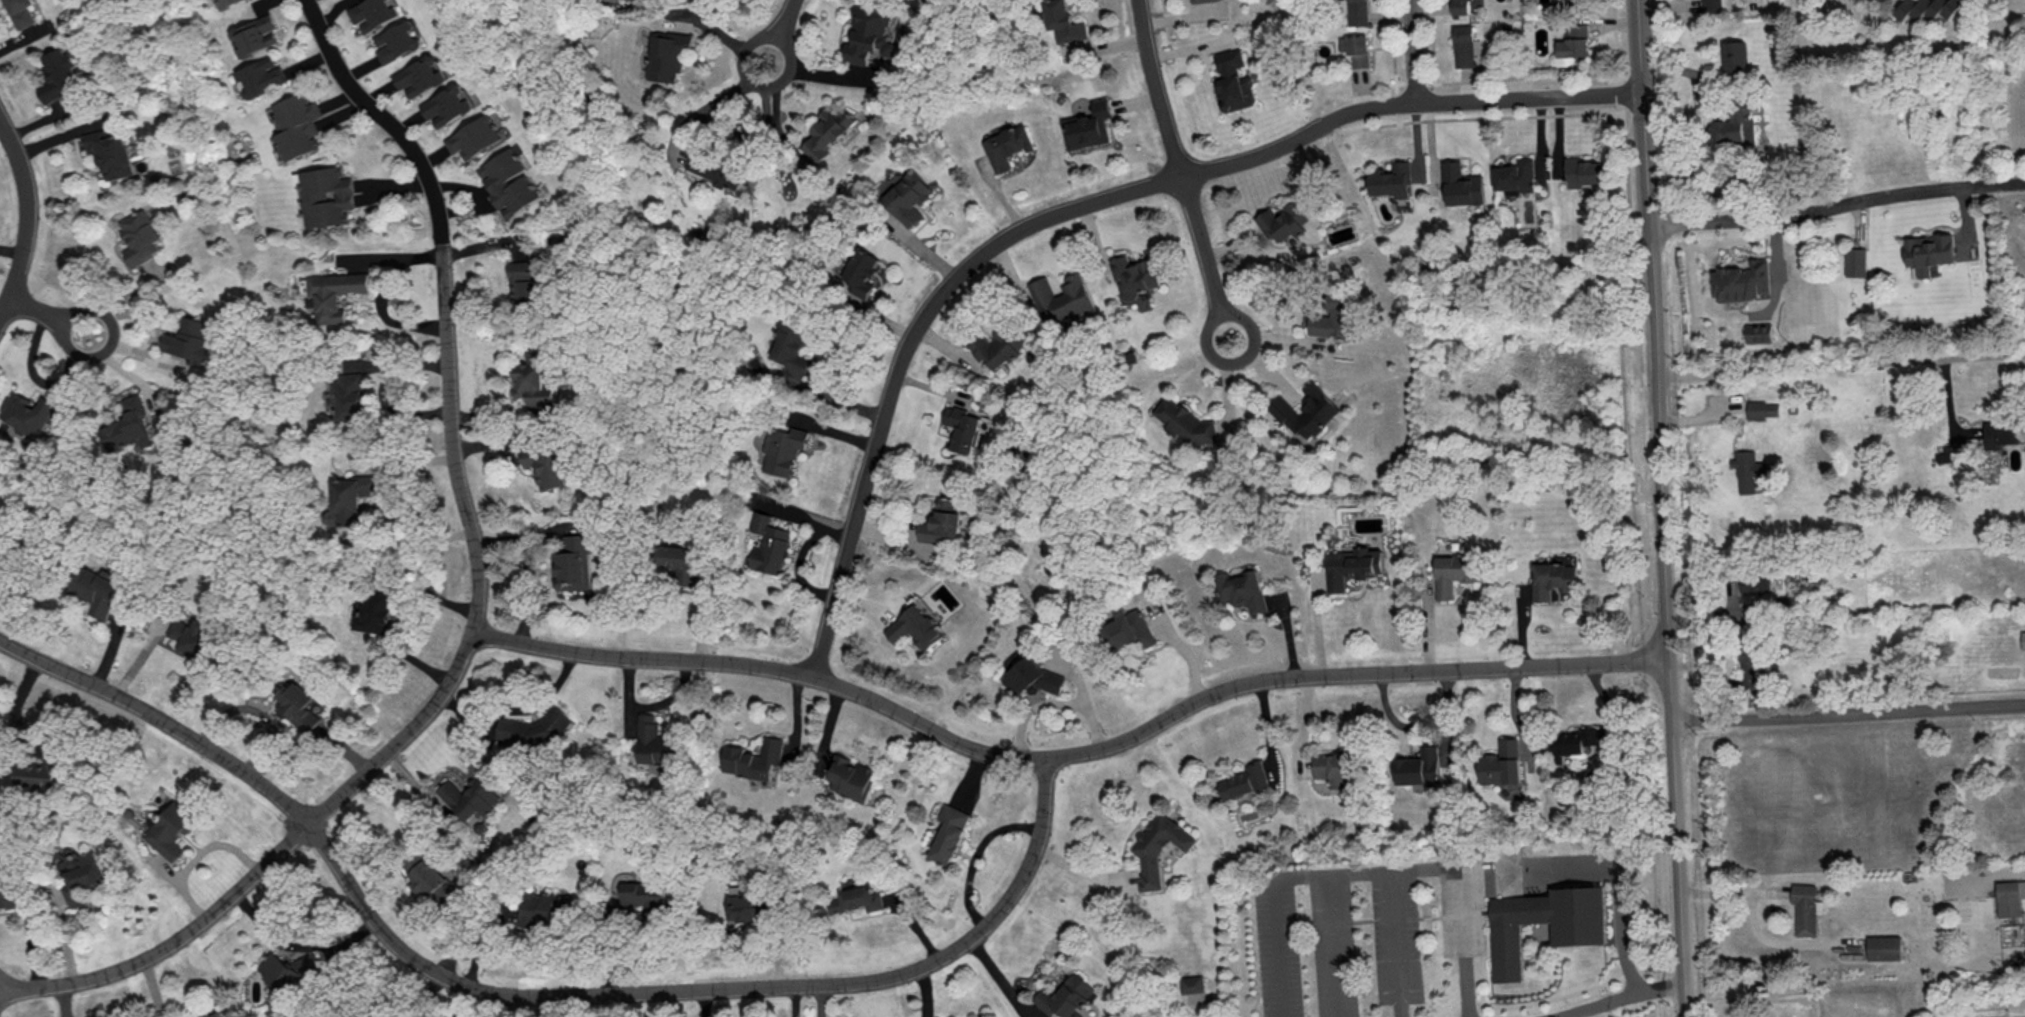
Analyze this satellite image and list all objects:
building: (1575, 2)
building: (225, 3)
building: (1712, 5)
building: (1462, 6)
building: (1926, 8)
building: (20, 12)
building: (1358, 12)
building: (372, 13)
road: (786, 14)
building: (1063, 21)
building: (870, 32)
building: (256, 34)
building: (397, 40)
building: (1575, 40)
building: (1464, 45)
building: (1357, 48)
road: (1413, 51)
building: (667, 54)
building: (1736, 55)
building: (57, 73)
building: (261, 75)
building: (420, 75)
building: (1233, 80)
road: (756, 84)
road: (1157, 88)
road: (1404, 102)
building: (447, 104)
road: (1641, 105)
building: (297, 123)
building: (1088, 125)
building: (1735, 125)
building: (828, 131)
building: (476, 136)
building: (1009, 146)
building: (110, 152)
building: (715, 167)
building: (1586, 170)
building: (1517, 174)
building: (1392, 180)
building: (510, 181)
building: (1463, 184)
road: (1127, 191)
building: (327, 195)
building: (909, 197)
road: (1836, 203)
road: (25, 218)
building: (1282, 220)
building: (139, 236)
road: (1201, 240)
building: (1928, 251)
road: (389, 253)
building: (1855, 261)
building: (863, 271)
building: (1134, 276)
building: (525, 280)
building: (1741, 280)
building: (334, 292)
road: (443, 297)
building: (1062, 297)
road: (384, 309)
road: (34, 310)
building: (1332, 318)
building: (1758, 331)
building: (189, 338)
road: (110, 340)
building: (792, 346)
building: (996, 346)
road: (1240, 362)
road: (1841, 365)
building: (532, 379)
building: (348, 394)
road: (887, 403)
building: (1763, 408)
building: (1305, 410)
building: (29, 411)
building: (1185, 422)
building: (129, 426)
building: (963, 427)
building: (2002, 432)
building: (783, 448)
building: (544, 462)
building: (1748, 469)
building: (346, 502)
building: (941, 520)
building: (770, 543)
building: (573, 561)
building: (679, 561)
building: (1352, 565)
building: (1454, 571)
building: (1755, 580)
building: (96, 589)
building: (1242, 589)
building: (377, 612)
road: (402, 612)
road: (1665, 613)
building: (916, 626)
building: (1129, 628)
building: (194, 635)
building: (2023, 638)
road: (640, 657)
building: (1748, 659)
road: (1345, 672)
building: (1032, 676)
building: (299, 705)
road: (1849, 714)
road: (160, 719)
road: (1519, 721)
road: (924, 723)
road: (1414, 725)
building: (536, 728)
road: (1268, 732)
road: (400, 739)
building: (653, 741)
building: (1573, 741)
building: (754, 757)
building: (1501, 763)
building: (1419, 766)
building: (1333, 768)
building: (39, 774)
building: (853, 777)
building: (1243, 780)
building: (472, 796)
building: (169, 828)
building: (951, 832)
building: (1159, 847)
road: (1081, 870)
road: (1369, 870)
building: (85, 877)
building: (434, 881)
road: (1620, 891)
building: (10, 892)
building: (641, 893)
road: (1741, 893)
building: (2009, 896)
building: (858, 898)
building: (741, 904)
building: (543, 907)
building: (1805, 907)
building: (1580, 934)
road: (174, 936)
road: (296, 940)
building: (1884, 946)
building: (290, 968)
building: (1192, 983)
road: (11, 987)
road: (706, 988)
building: (1066, 996)
road: (1761, 998)
road: (1608, 999)
road: (542, 1006)
building: (215, 1014)
building: (193, 1016)

